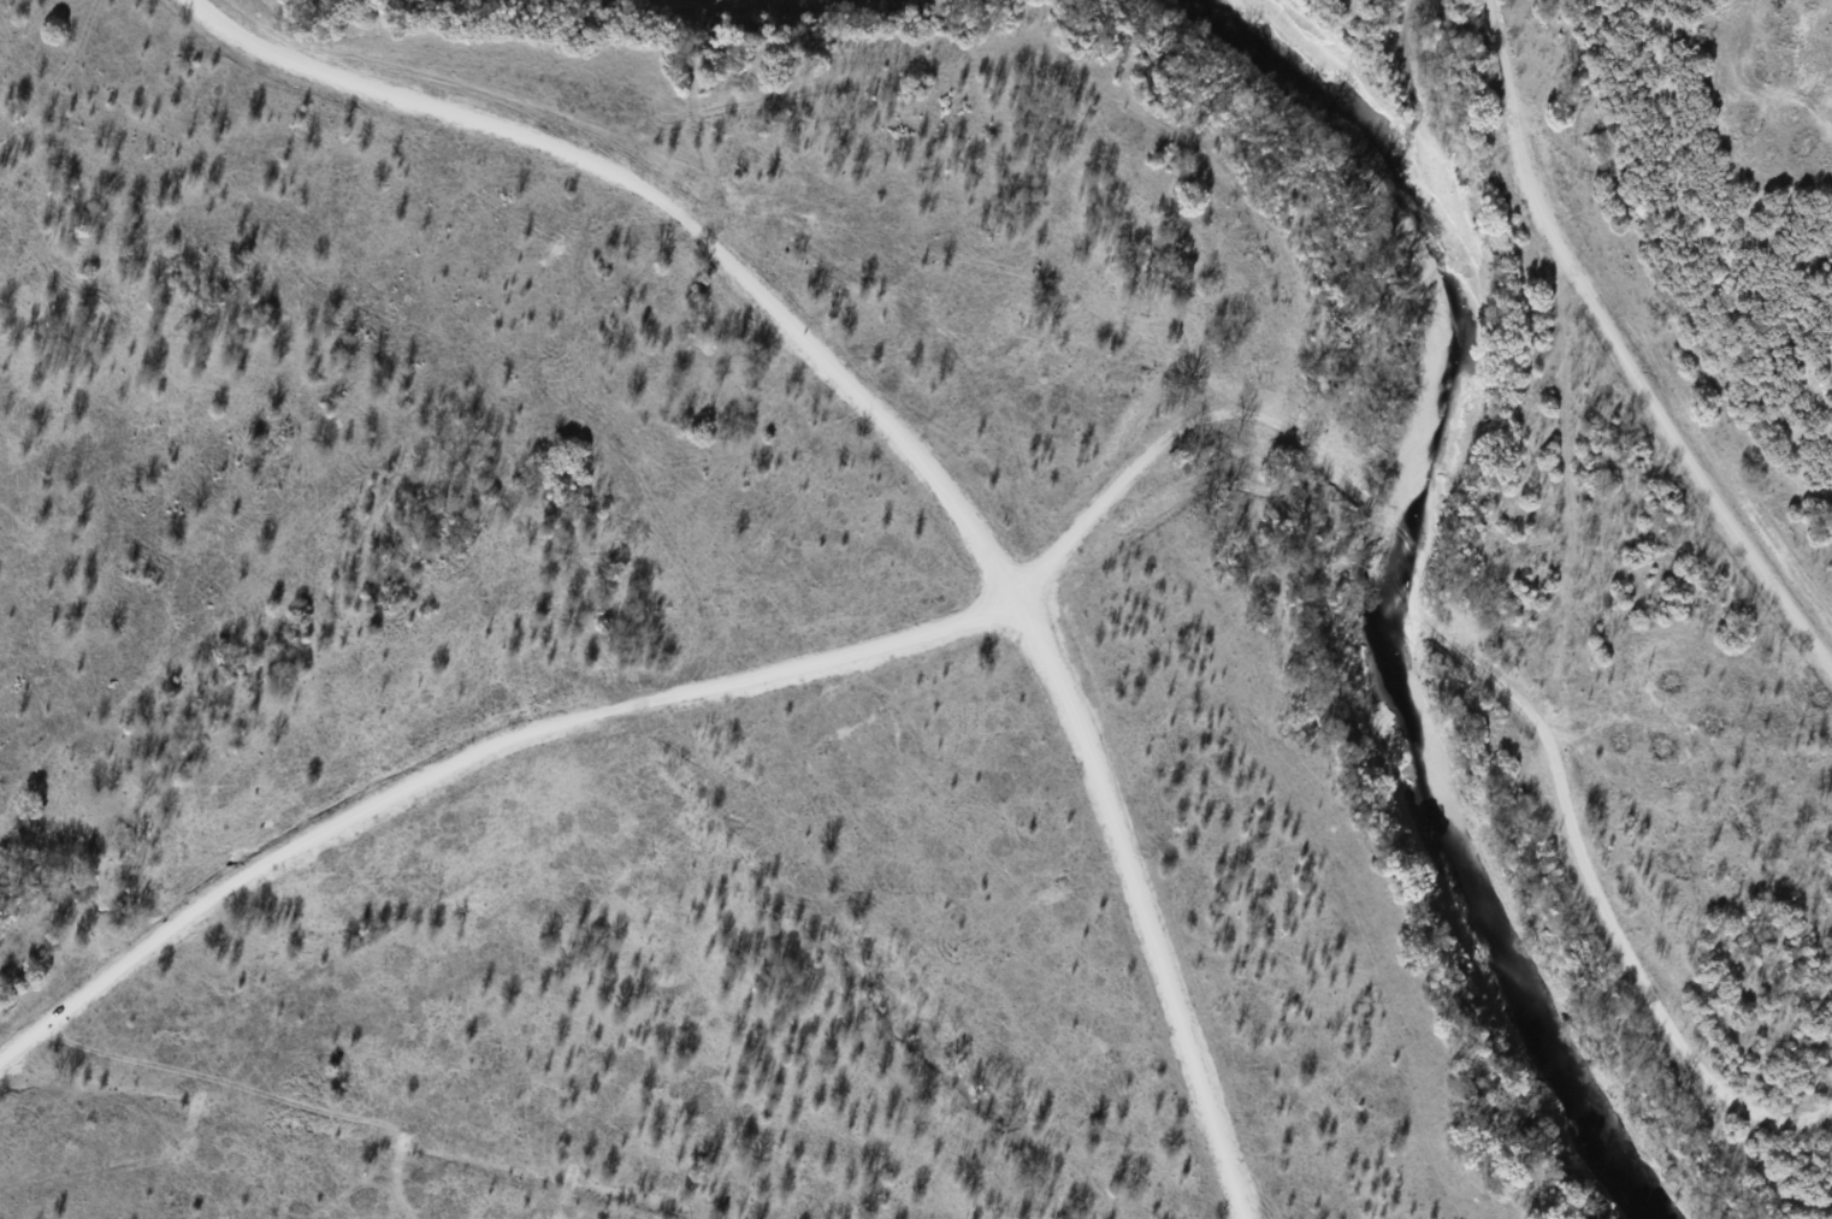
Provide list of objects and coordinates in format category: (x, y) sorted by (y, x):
road: (1621, 350)
road: (914, 434)
road: (1070, 540)
river: (1388, 594)

